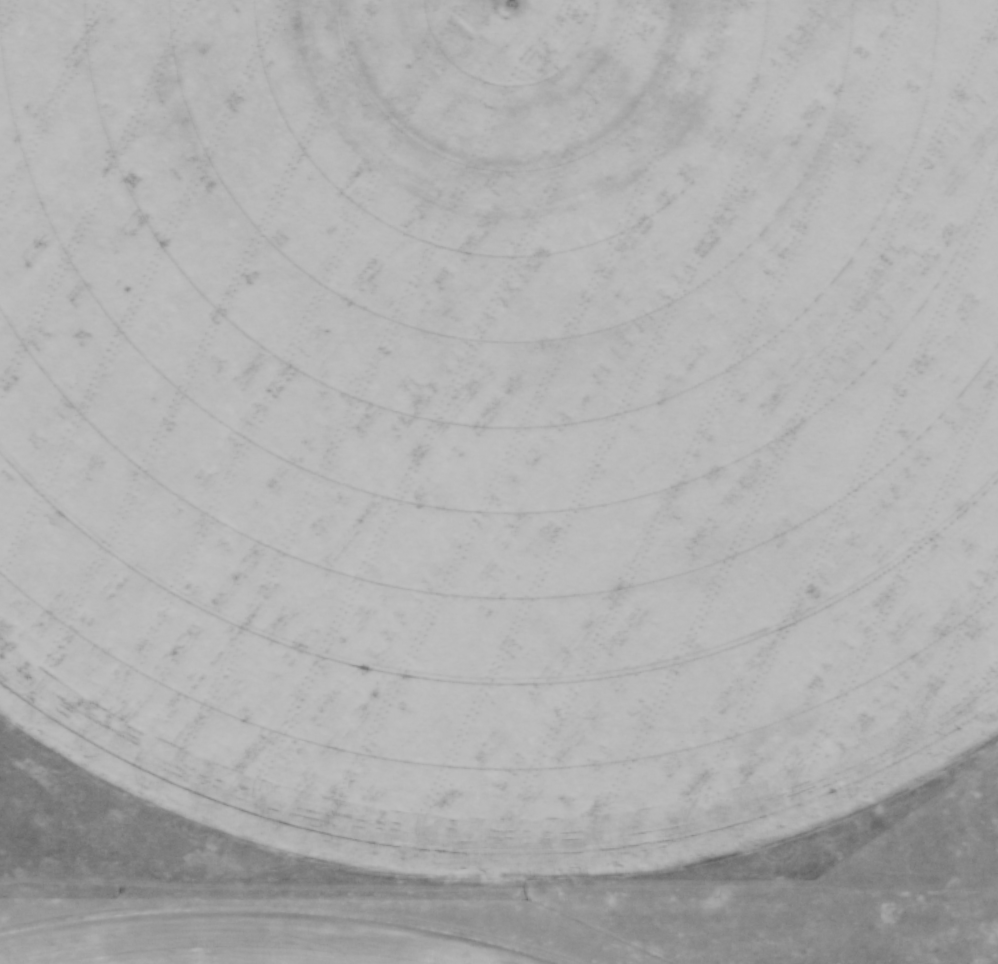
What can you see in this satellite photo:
crop: (500, 406)
crop: (240, 947)

